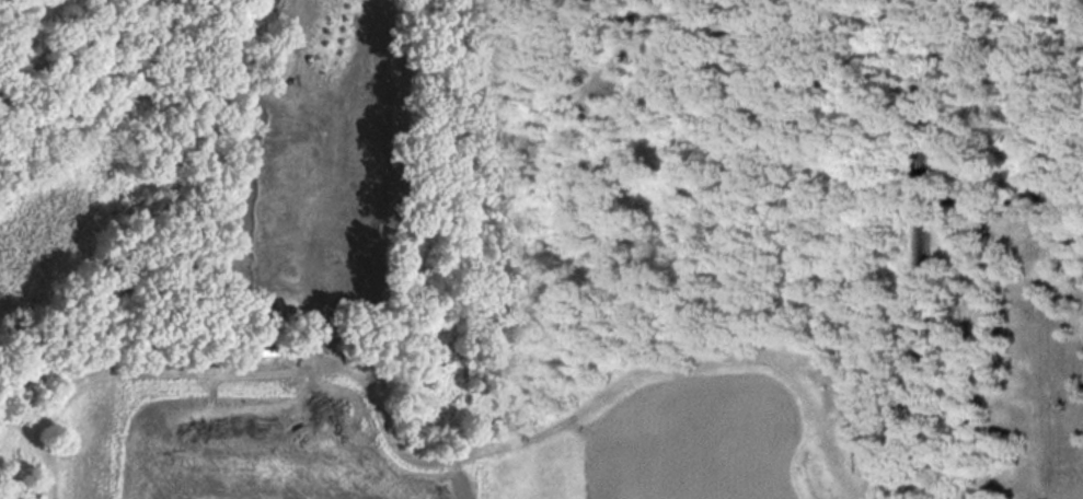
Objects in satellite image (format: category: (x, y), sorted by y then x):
road: (922, 249)

